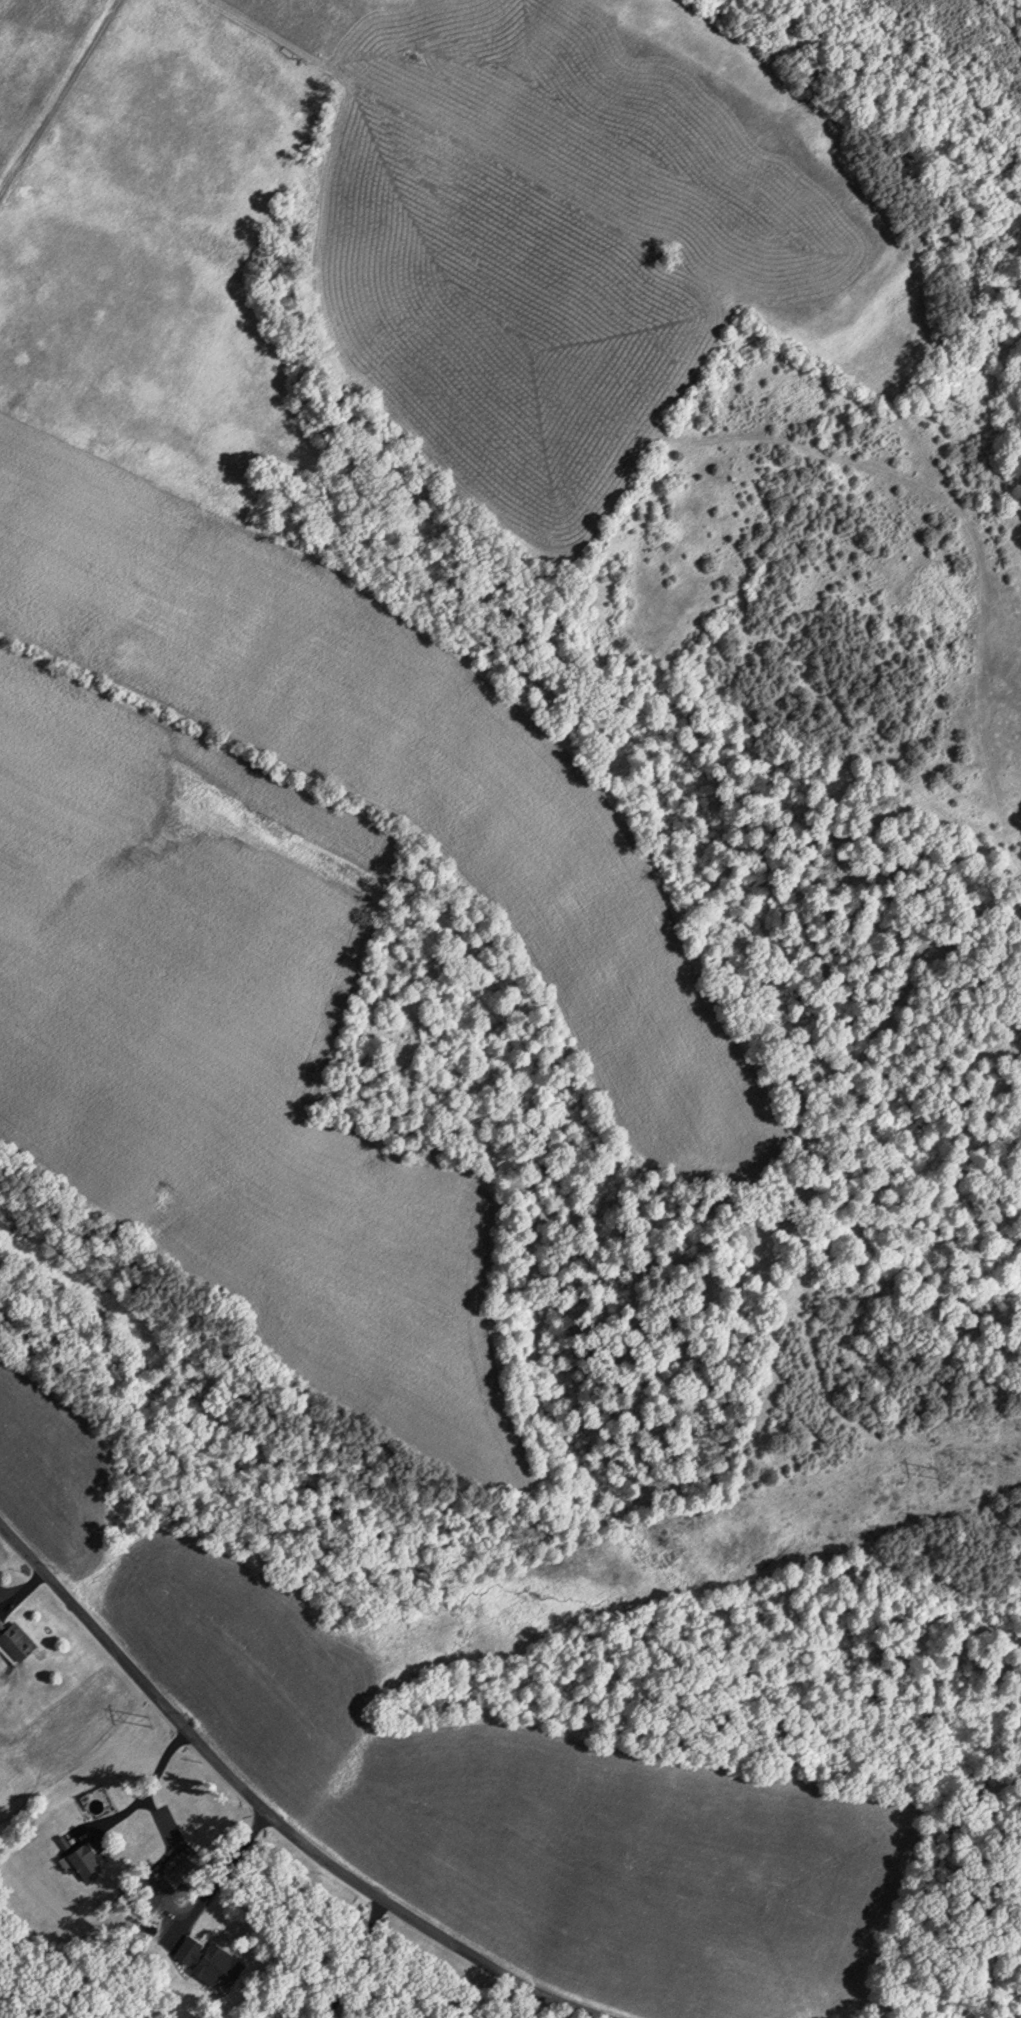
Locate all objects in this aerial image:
crop: (36, 56)
crop: (675, 146)
crop: (494, 302)
crop: (149, 564)
crop: (223, 1049)
road: (27, 1589)
building: (15, 1638)
road: (148, 1787)
crop: (487, 1787)
road: (262, 1814)
building: (80, 1862)
road: (222, 1875)
building: (187, 1949)
building: (218, 1964)

